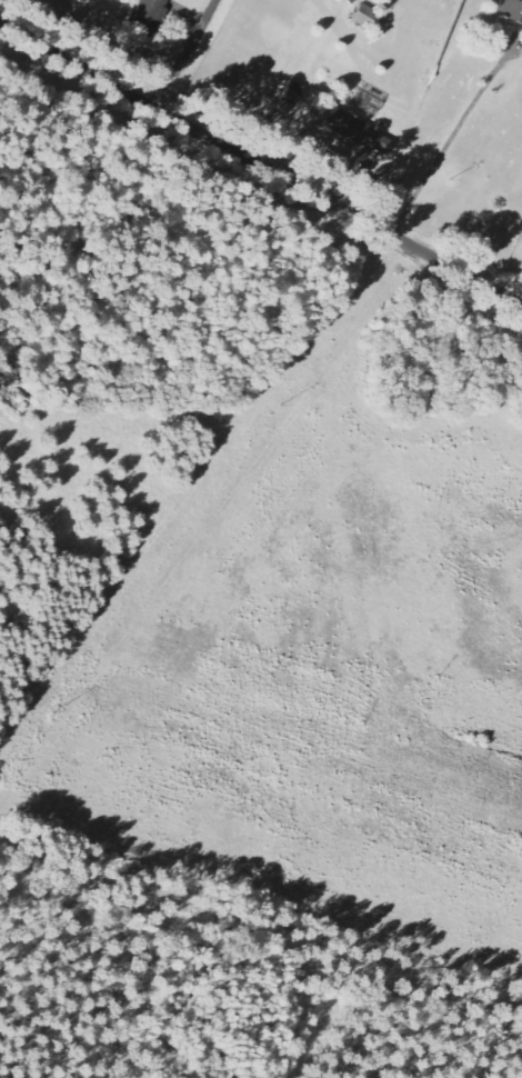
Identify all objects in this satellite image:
building: (380, 2)
building: (511, 11)
building: (149, 13)
building: (368, 19)
road: (190, 49)
building: (354, 134)
road: (261, 153)

